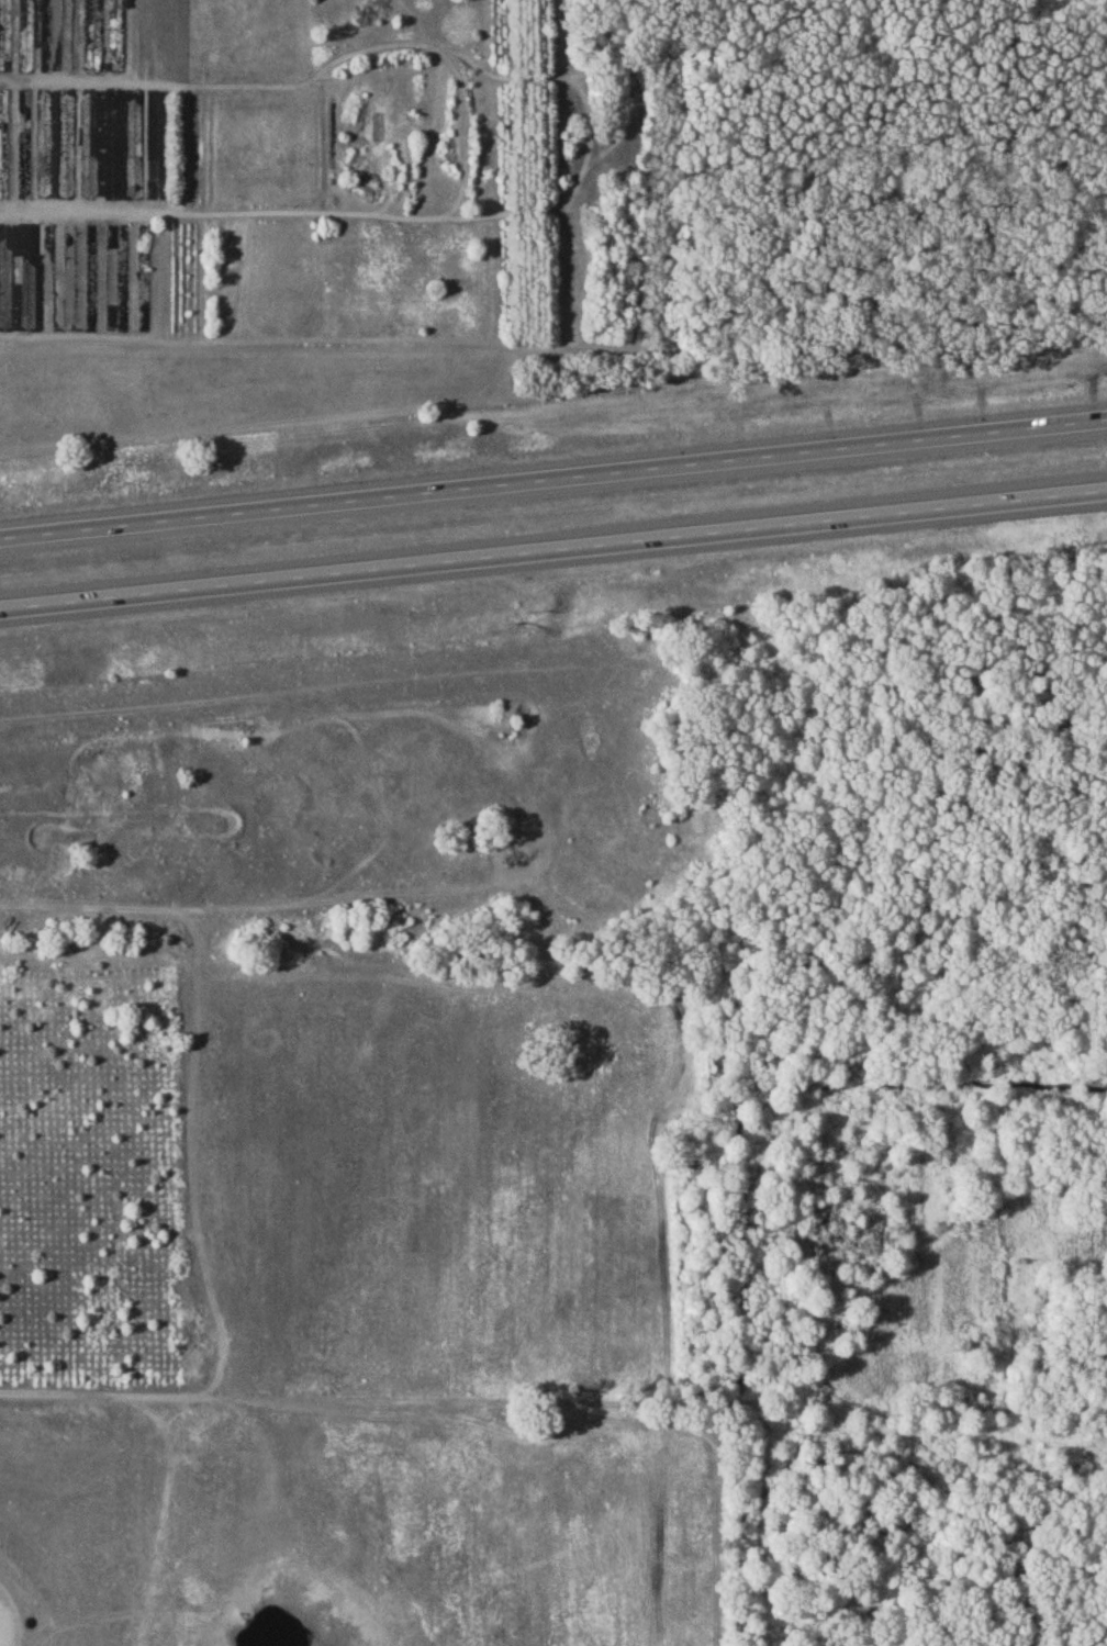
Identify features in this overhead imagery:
road: (552, 480)
road: (552, 548)
road: (91, 911)

